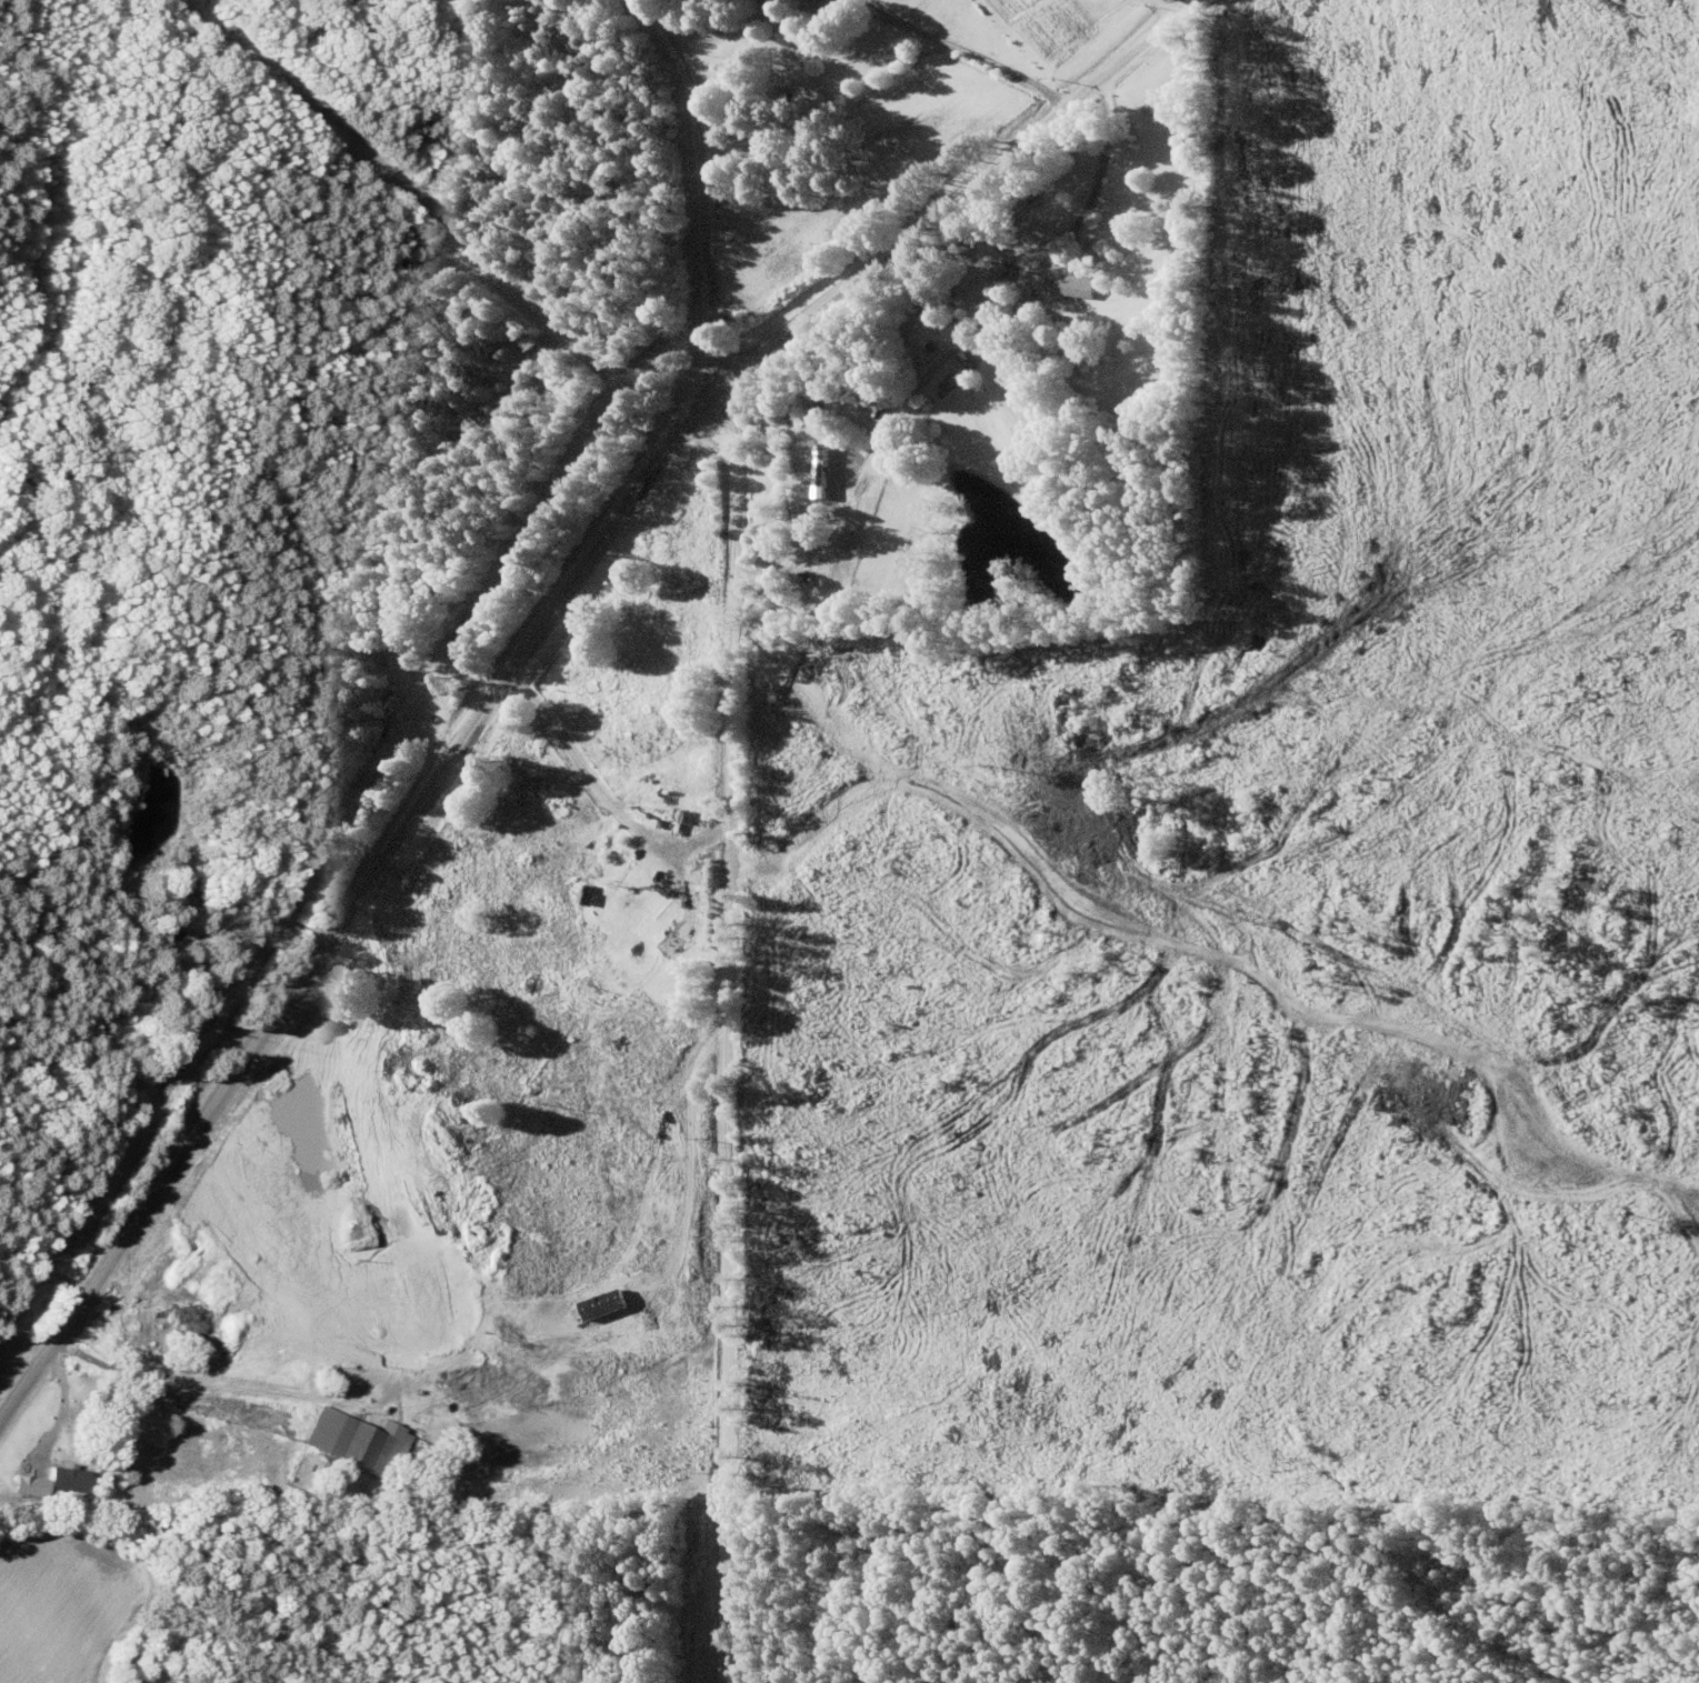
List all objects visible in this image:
building: (821, 4)
road: (921, 197)
building: (1070, 285)
building: (818, 463)
road: (721, 829)
road: (350, 875)
building: (198, 880)
building: (174, 936)
building: (358, 1441)

